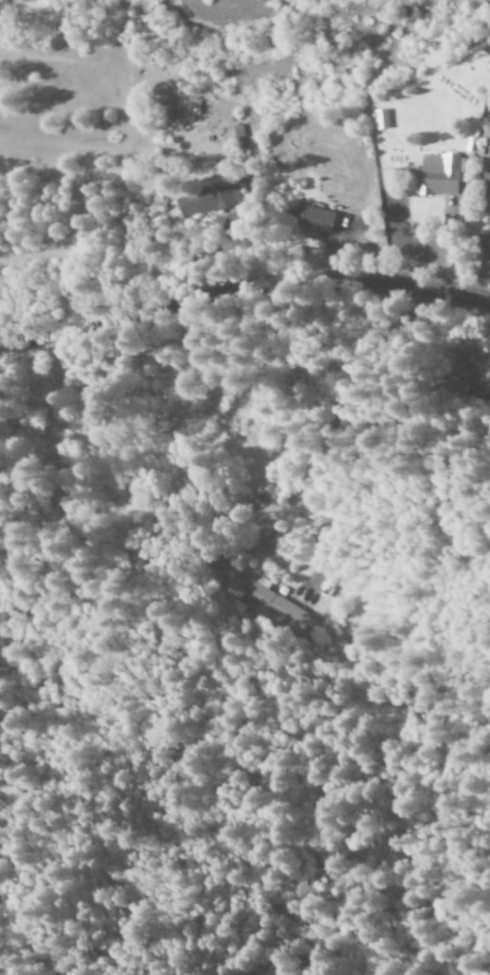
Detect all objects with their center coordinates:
building: (168, 108)
building: (380, 119)
building: (241, 151)
building: (437, 175)
building: (311, 218)
road: (242, 285)
building: (456, 385)
building: (270, 604)

